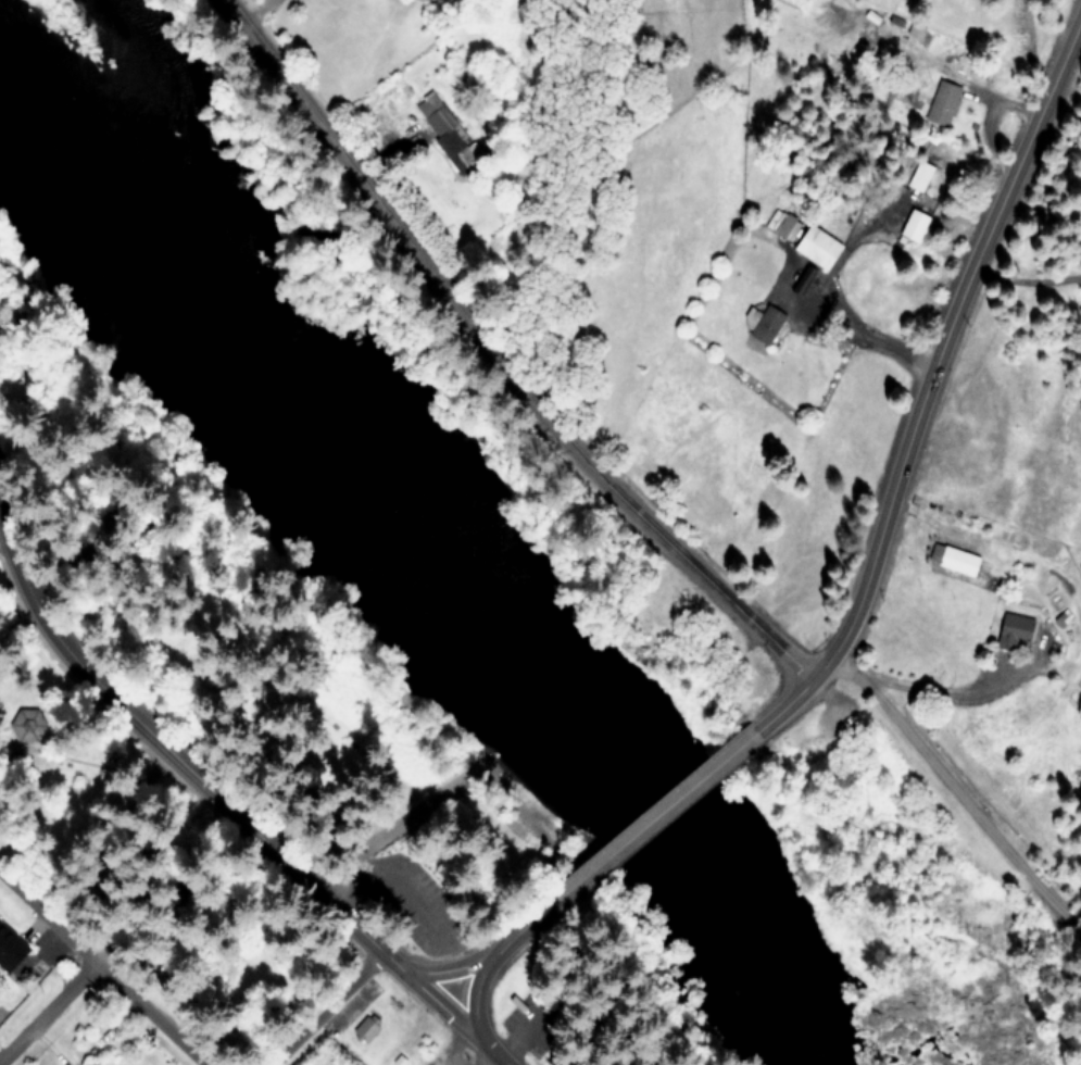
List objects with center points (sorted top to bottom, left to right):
road: (255, 10)
crop: (852, 28)
building: (941, 104)
building: (438, 122)
building: (918, 174)
building: (780, 222)
building: (912, 226)
building: (814, 247)
building: (764, 326)
road: (866, 335)
road: (943, 340)
road: (487, 364)
road: (8, 503)
river: (432, 549)
building: (955, 561)
building: (1010, 631)
road: (944, 696)
road: (782, 703)
road: (140, 718)
road: (957, 780)
road: (662, 805)
road: (524, 923)
building: (8, 951)
road: (449, 969)
road: (103, 972)
road: (431, 987)
road: (474, 995)
park: (578, 1001)
road: (325, 1005)
road: (48, 1015)
building: (363, 1028)
road: (496, 1048)
road: (502, 1061)

